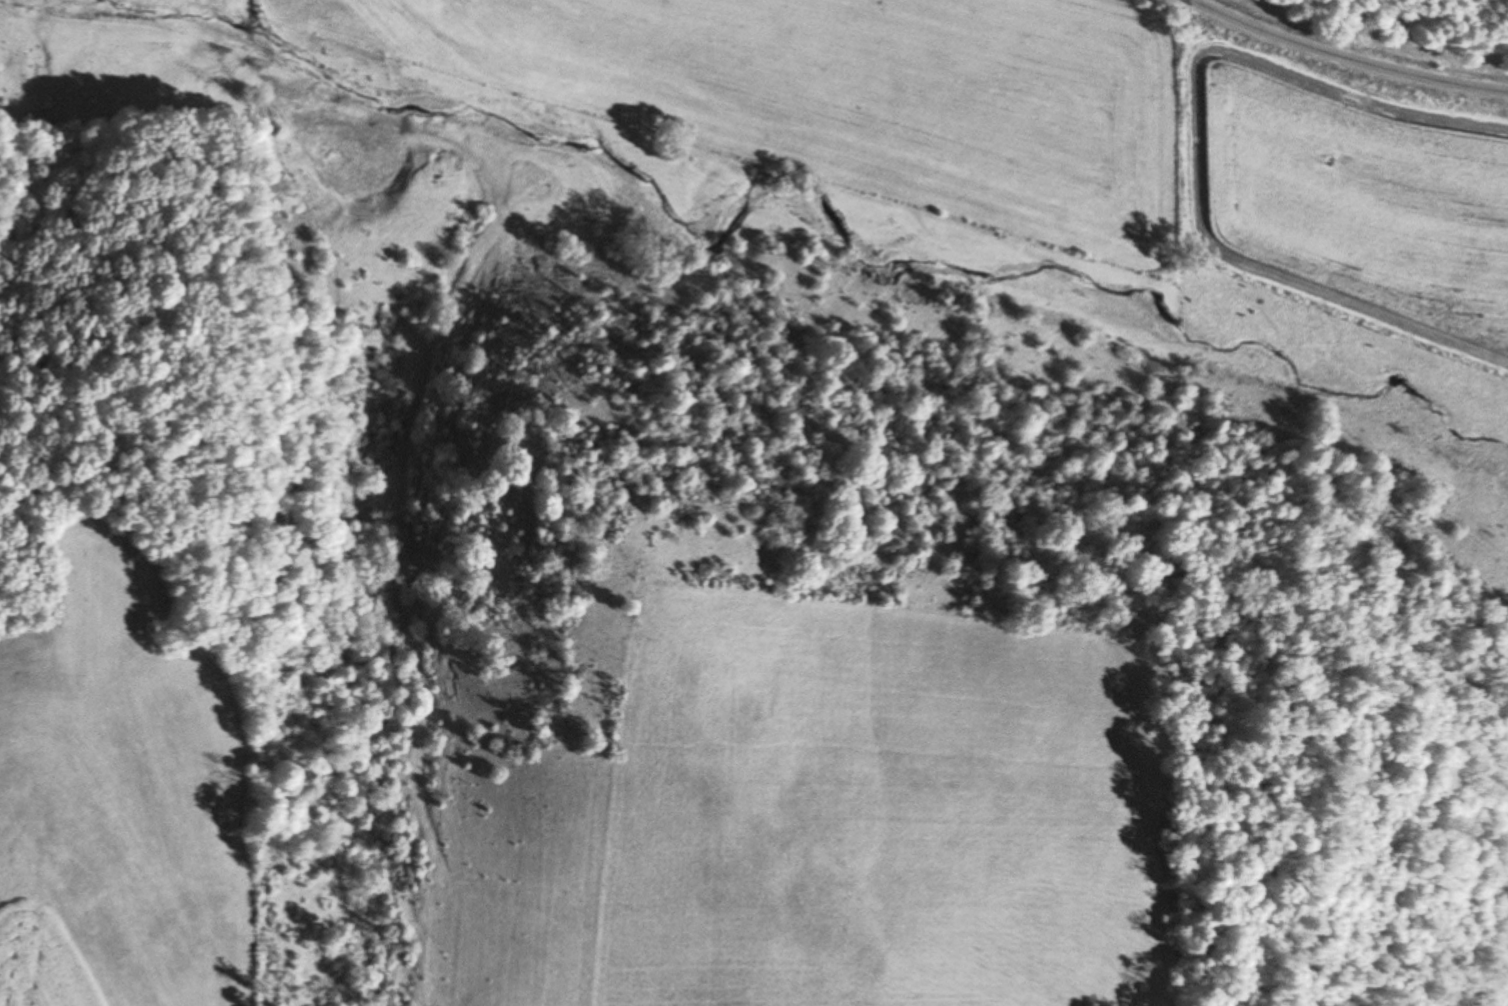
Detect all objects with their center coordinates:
road: (1344, 57)
crop: (845, 94)
crop: (1345, 185)
crop: (118, 798)

